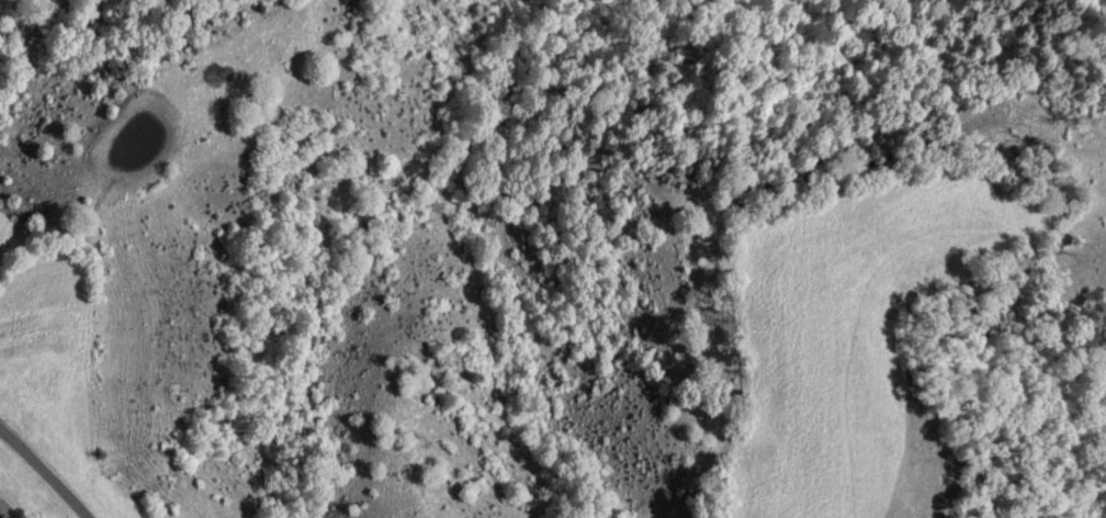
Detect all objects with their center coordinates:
road: (33, 481)

